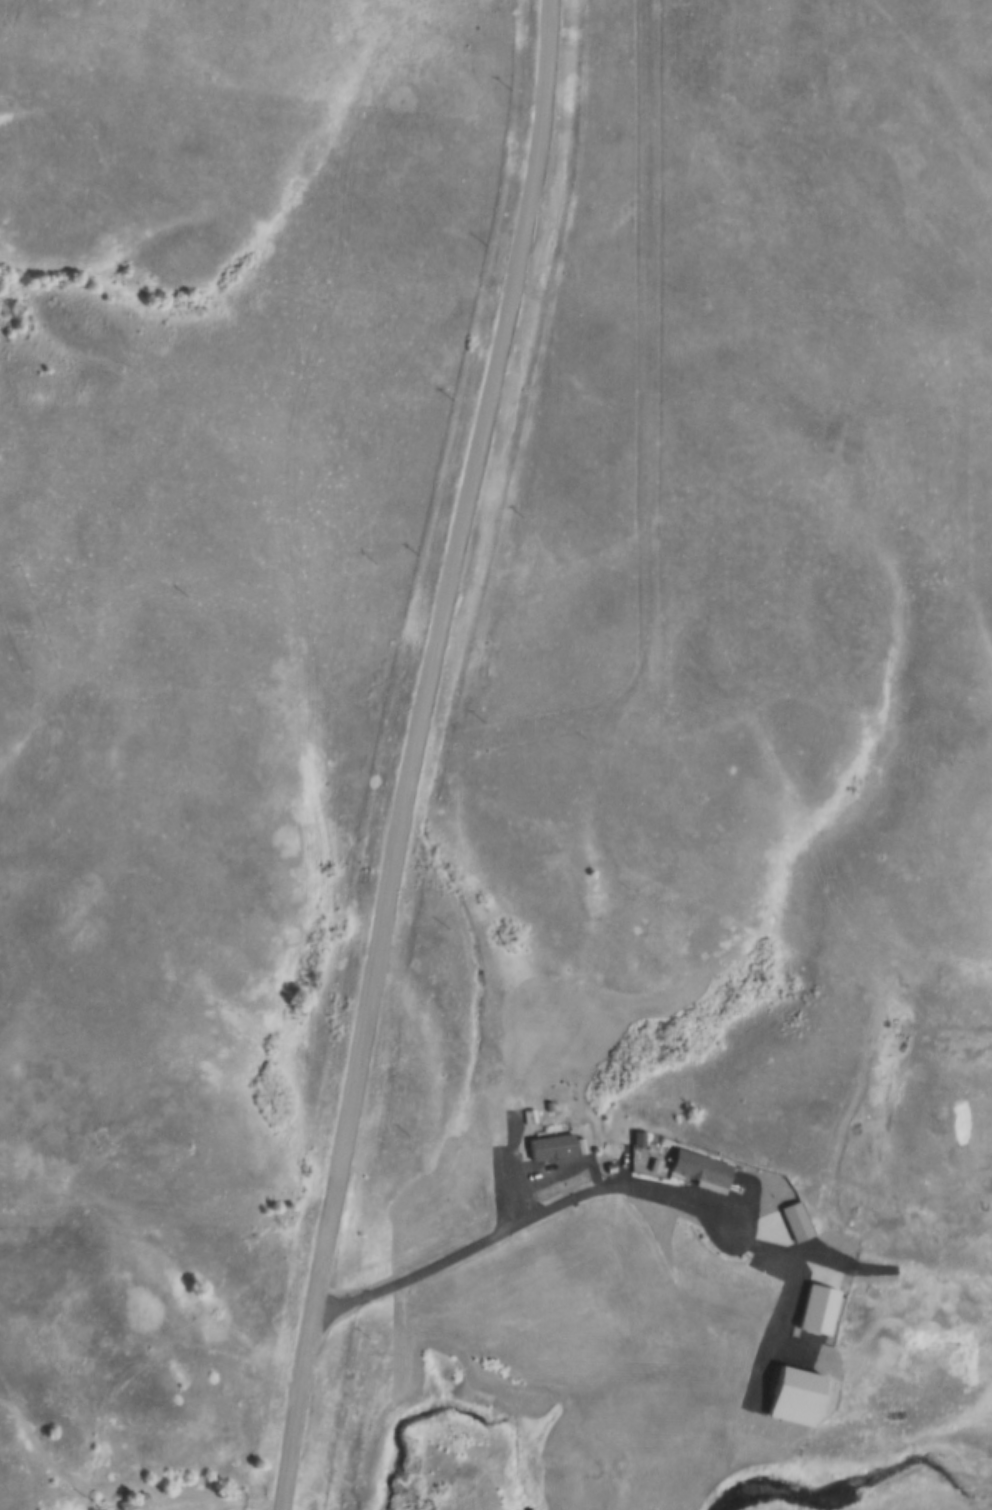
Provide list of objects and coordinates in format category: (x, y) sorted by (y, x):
road: (414, 754)
building: (704, 1167)
road: (595, 1195)
road: (941, 1274)
building: (138, 1502)

